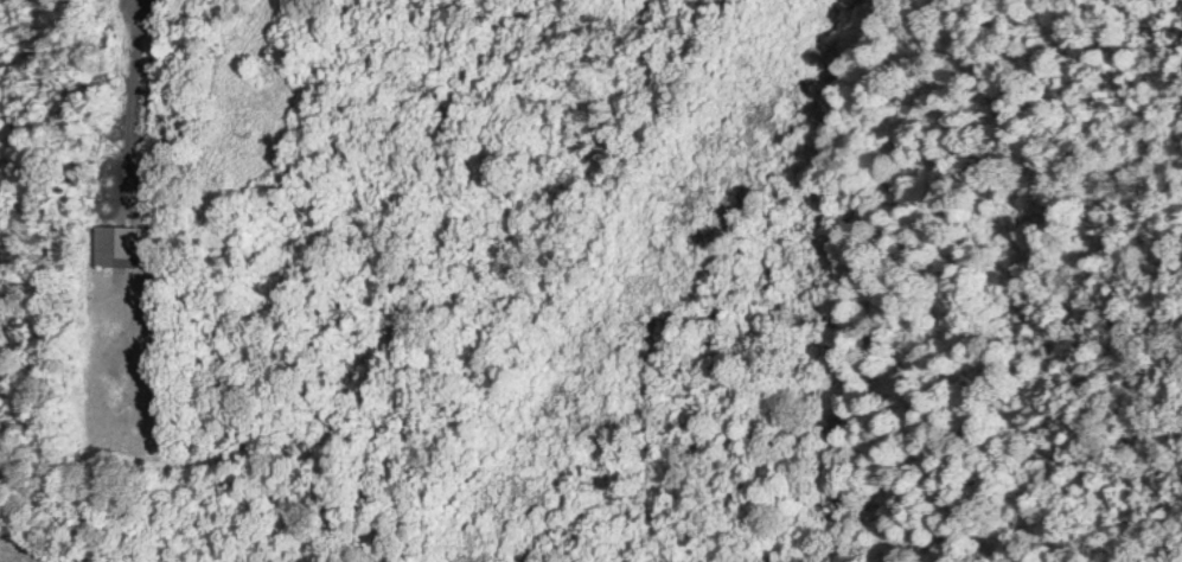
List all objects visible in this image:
building: (119, 245)
power tower: (12, 561)

